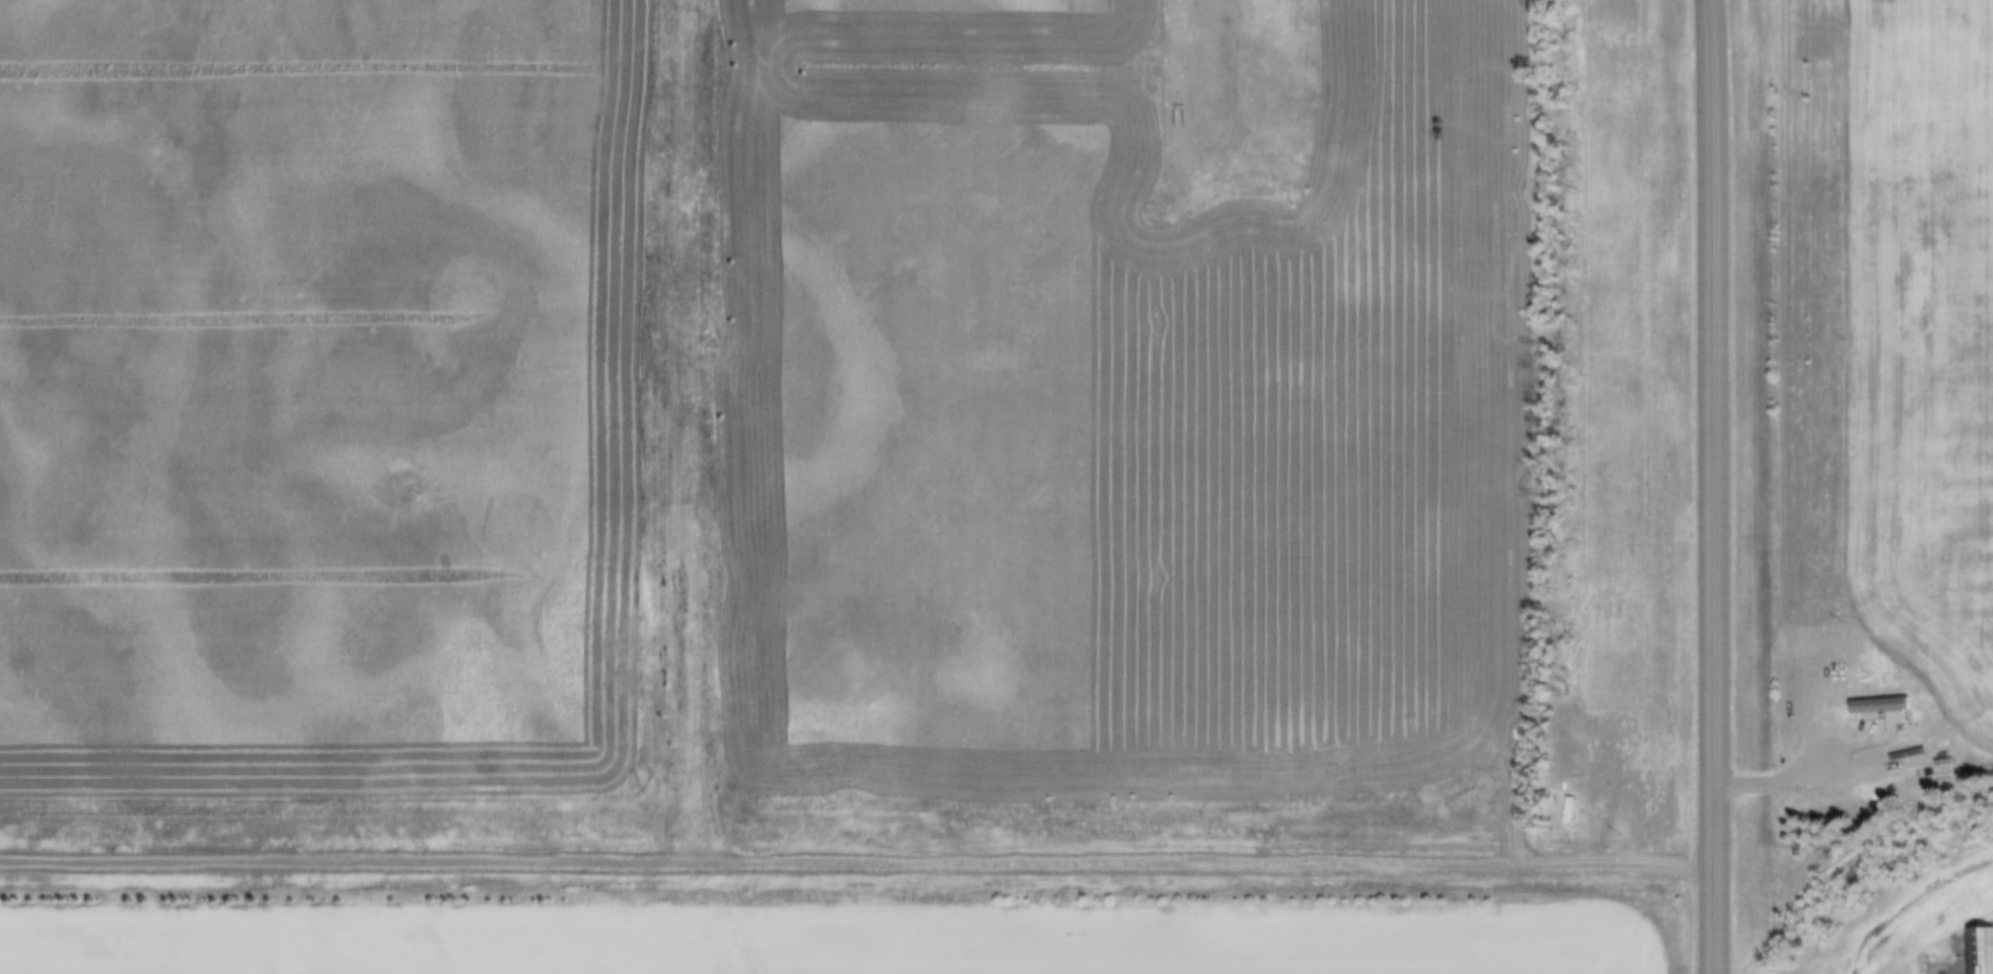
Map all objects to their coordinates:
road: (1714, 486)
building: (1879, 706)
road: (1651, 879)

